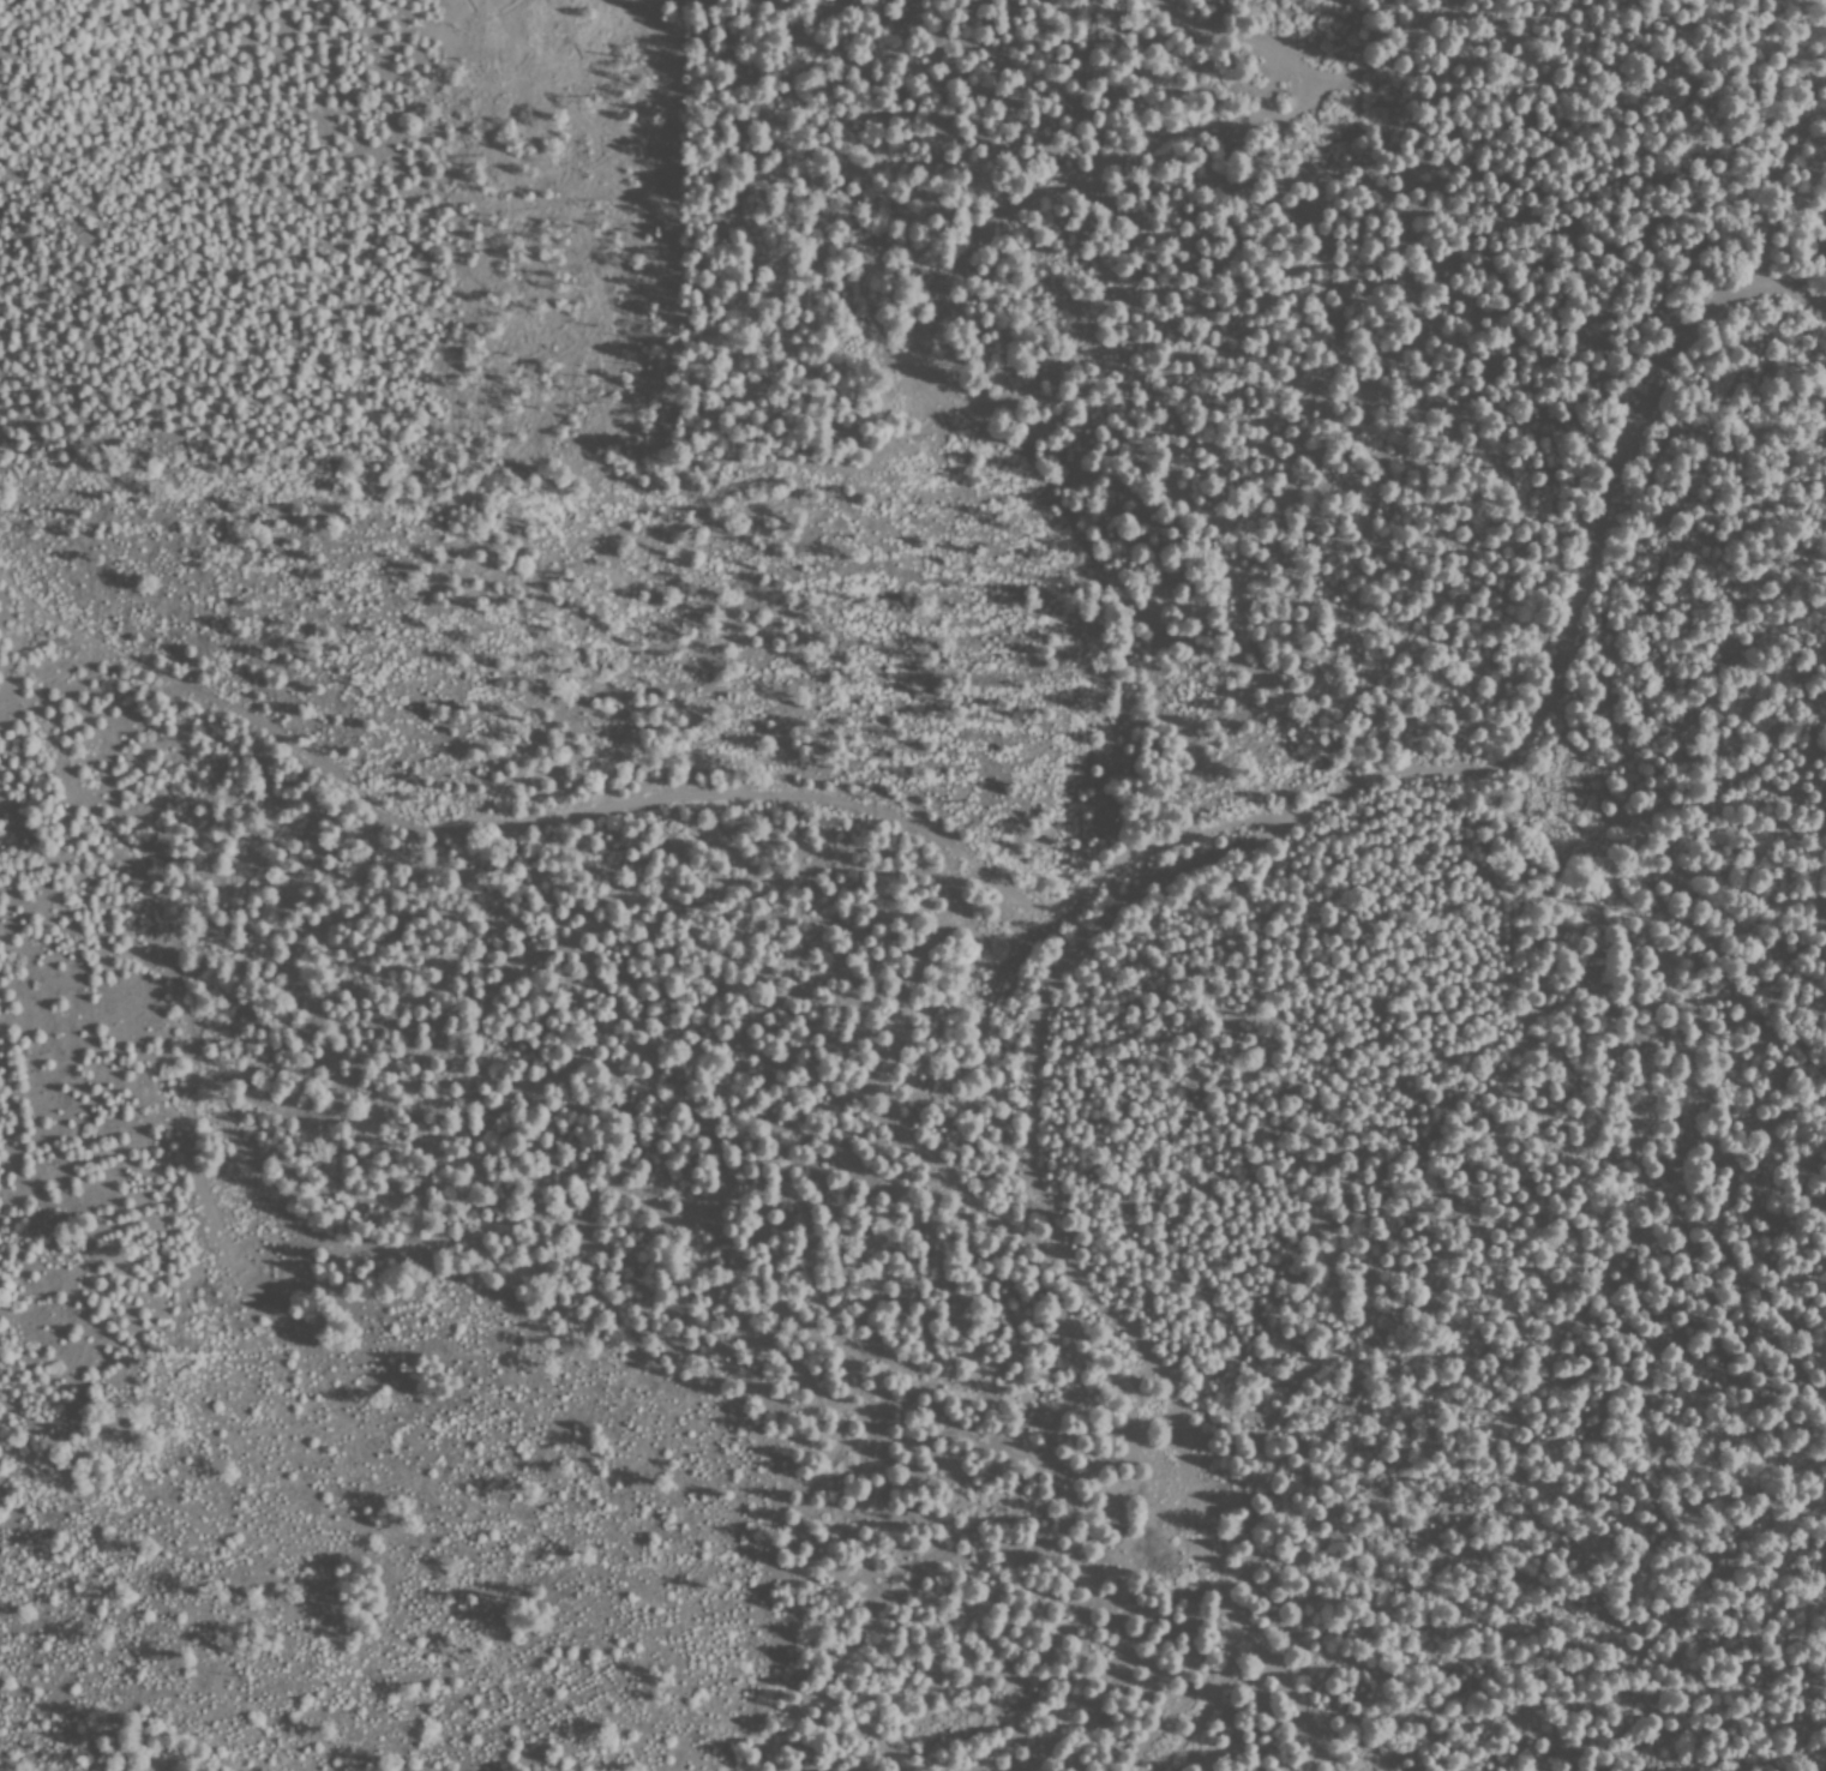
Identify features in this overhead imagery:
road: (1797, 5)
road: (1149, 888)
road: (1218, 1700)

